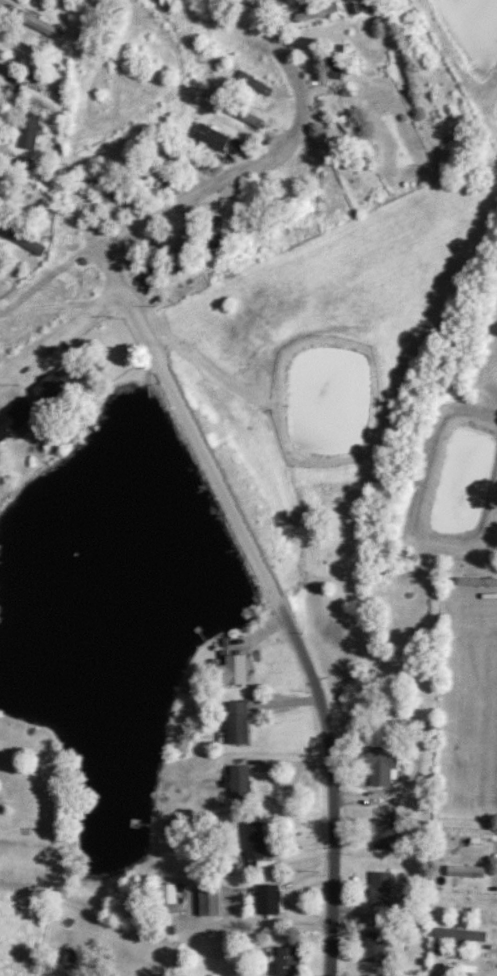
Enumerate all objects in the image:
building: (49, 0)
building: (318, 13)
building: (202, 23)
building: (336, 56)
building: (255, 85)
building: (40, 100)
building: (241, 114)
building: (31, 133)
building: (213, 138)
building: (359, 138)
building: (175, 154)
road: (246, 169)
building: (319, 181)
building: (104, 188)
building: (250, 231)
building: (31, 245)
building: (156, 258)
road: (59, 335)
building: (59, 386)
building: (16, 419)
road: (286, 616)
building: (240, 670)
building: (241, 723)
building: (384, 768)
building: (243, 783)
building: (386, 835)
building: (256, 841)
building: (382, 889)
building: (168, 895)
building: (271, 900)
building: (211, 903)
building: (376, 948)
building: (75, 960)
building: (290, 962)

